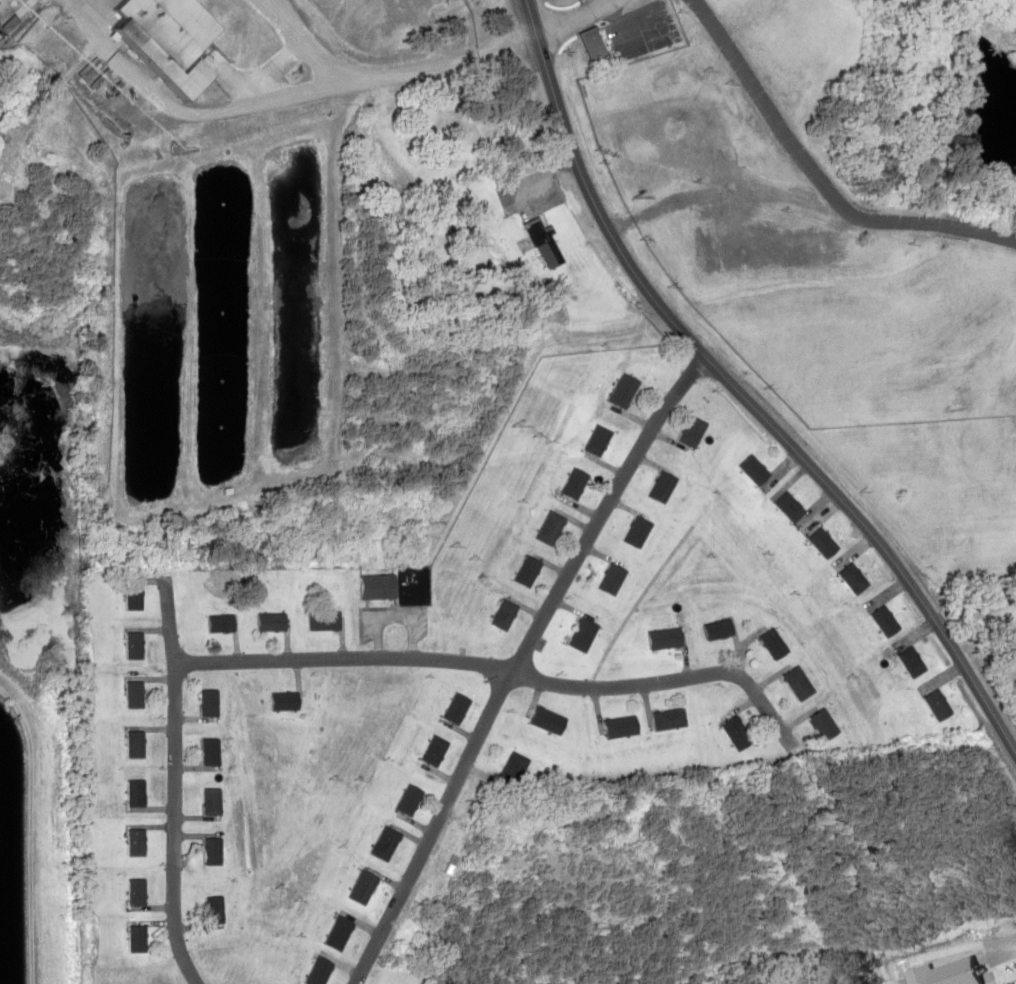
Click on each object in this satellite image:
building: (172, 39)
road: (299, 41)
building: (593, 44)
road: (278, 96)
building: (539, 241)
building: (626, 388)
road: (738, 394)
building: (694, 429)
building: (600, 439)
building: (756, 468)
building: (576, 481)
building: (665, 484)
building: (791, 504)
building: (551, 526)
building: (640, 530)
building: (825, 541)
building: (528, 569)
building: (615, 576)
building: (855, 576)
building: (380, 586)
building: (133, 599)
building: (505, 613)
building: (886, 619)
building: (325, 620)
building: (271, 621)
building: (219, 622)
building: (721, 629)
building: (584, 633)
building: (666, 637)
building: (775, 643)
building: (133, 645)
building: (912, 661)
road: (515, 664)
road: (499, 667)
building: (800, 682)
building: (134, 694)
building: (283, 700)
building: (207, 701)
building: (939, 704)
building: (457, 706)
building: (670, 717)
building: (549, 719)
building: (824, 723)
building: (622, 725)
building: (737, 732)
building: (135, 743)
building: (434, 749)
building: (209, 751)
building: (514, 766)
building: (135, 792)
building: (409, 799)
building: (210, 800)
road: (170, 825)
building: (137, 841)
building: (385, 843)
building: (211, 851)
building: (363, 886)
building: (138, 891)
building: (213, 909)
building: (338, 932)
building: (137, 938)
building: (317, 971)

